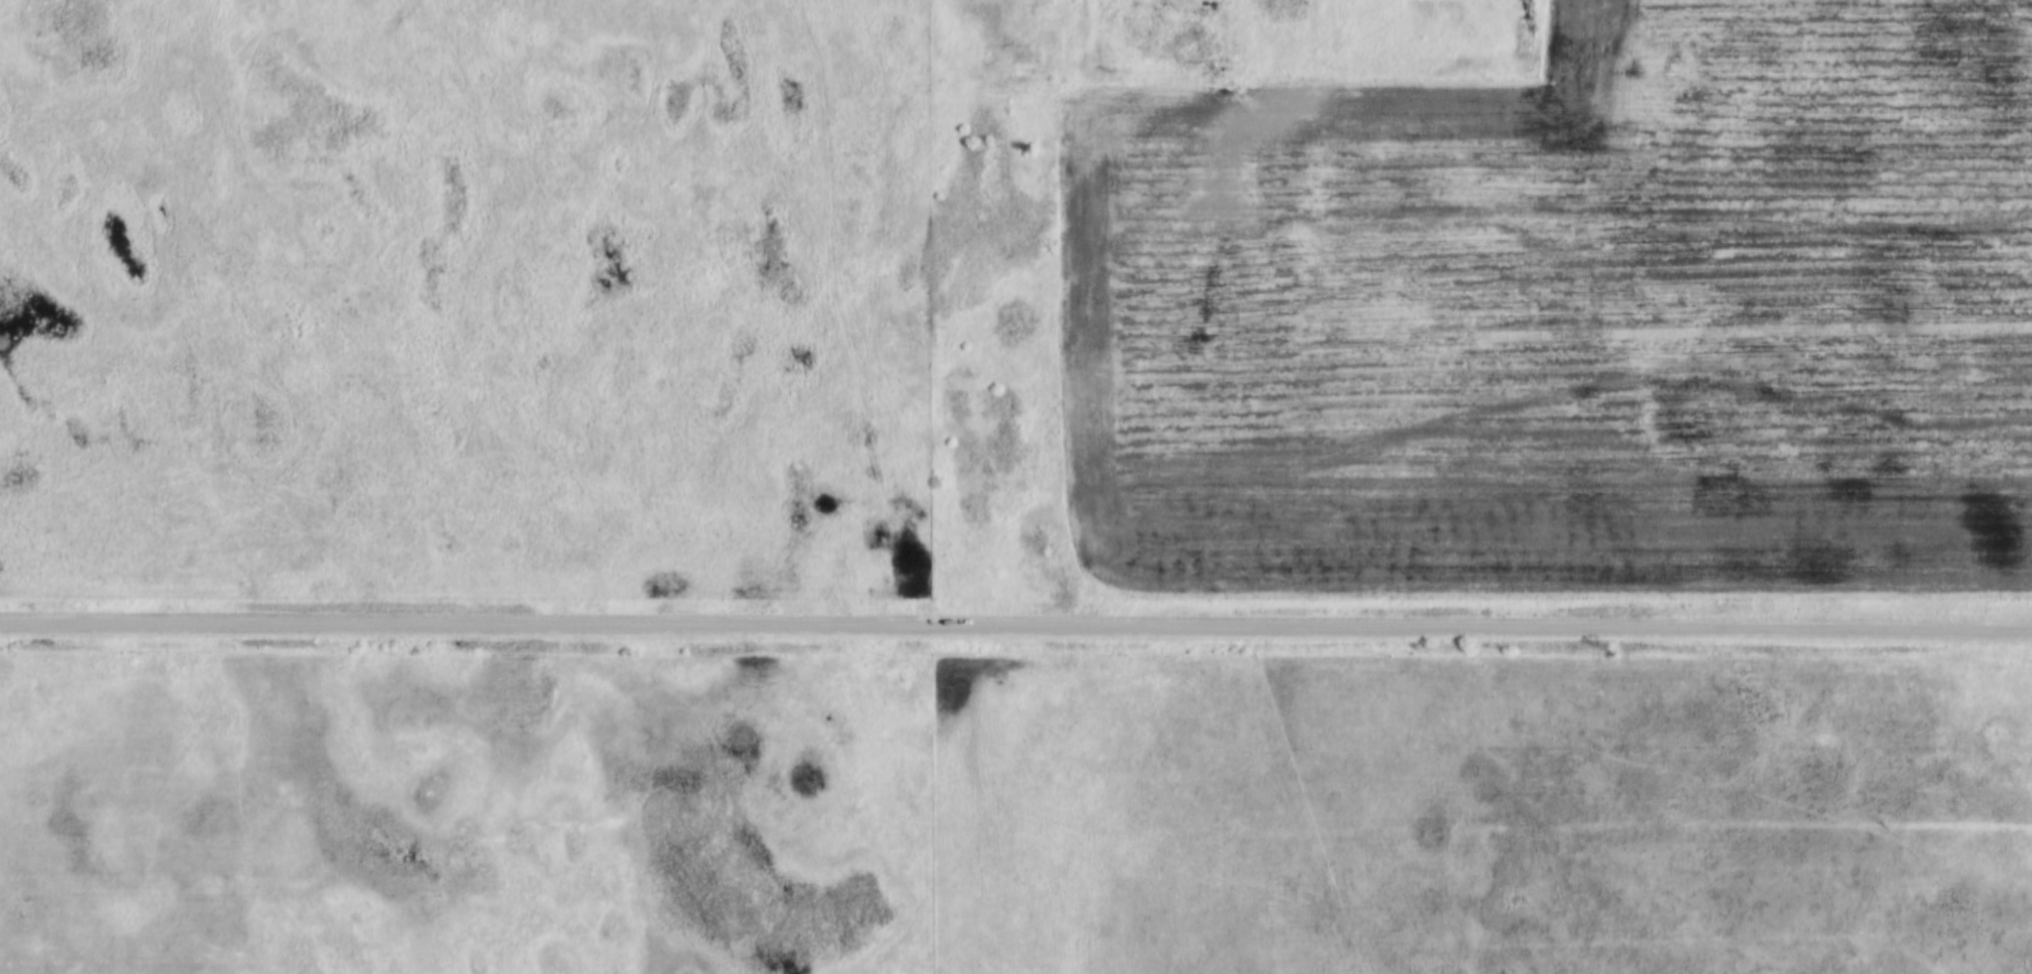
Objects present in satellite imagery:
road: (1015, 628)

